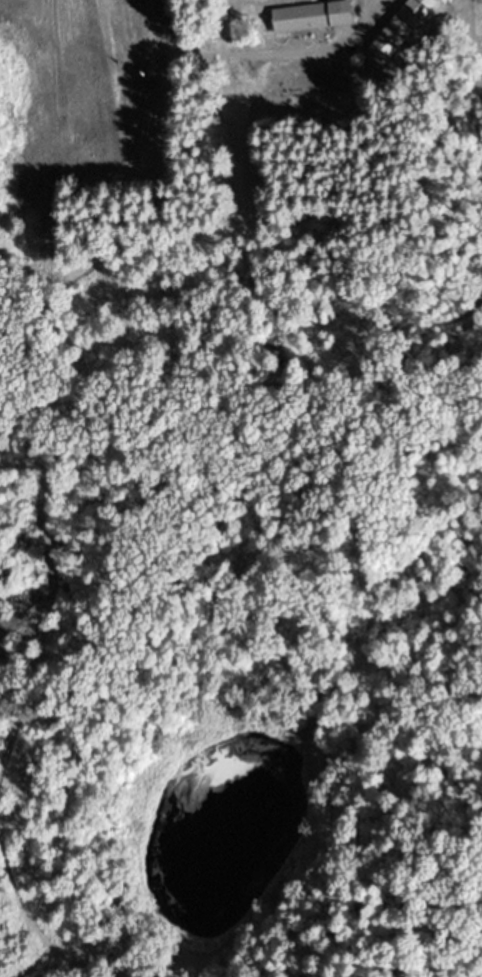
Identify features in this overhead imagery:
building: (316, 23)
building: (405, 29)
road: (187, 65)

